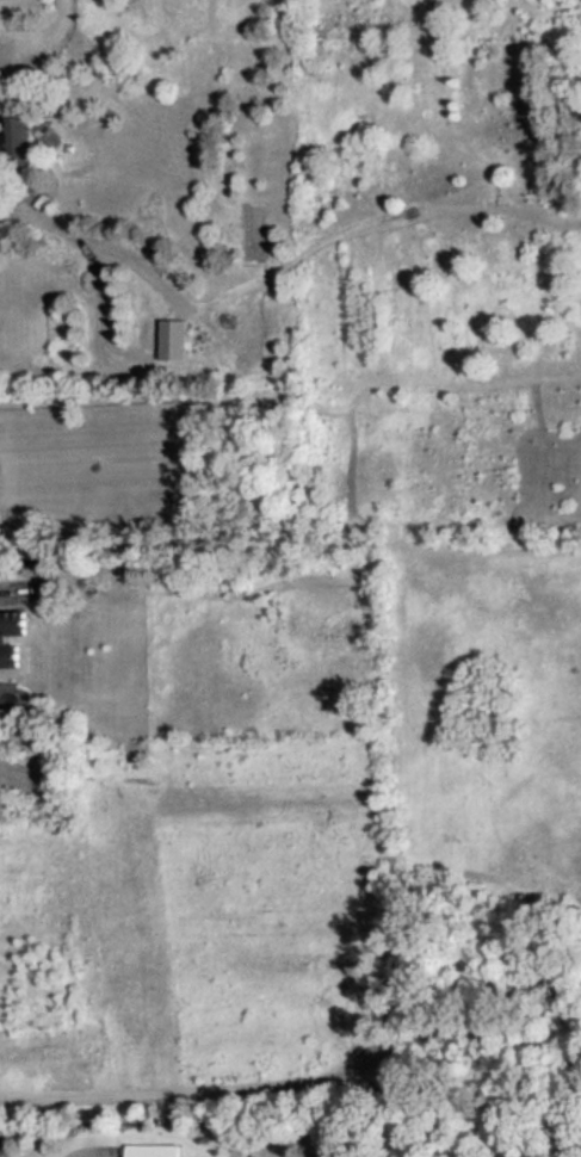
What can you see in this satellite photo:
road: (44, 37)
building: (13, 135)
road: (97, 243)
building: (171, 340)
building: (47, 584)
building: (7, 638)
road: (307, 1082)
building: (147, 1150)

